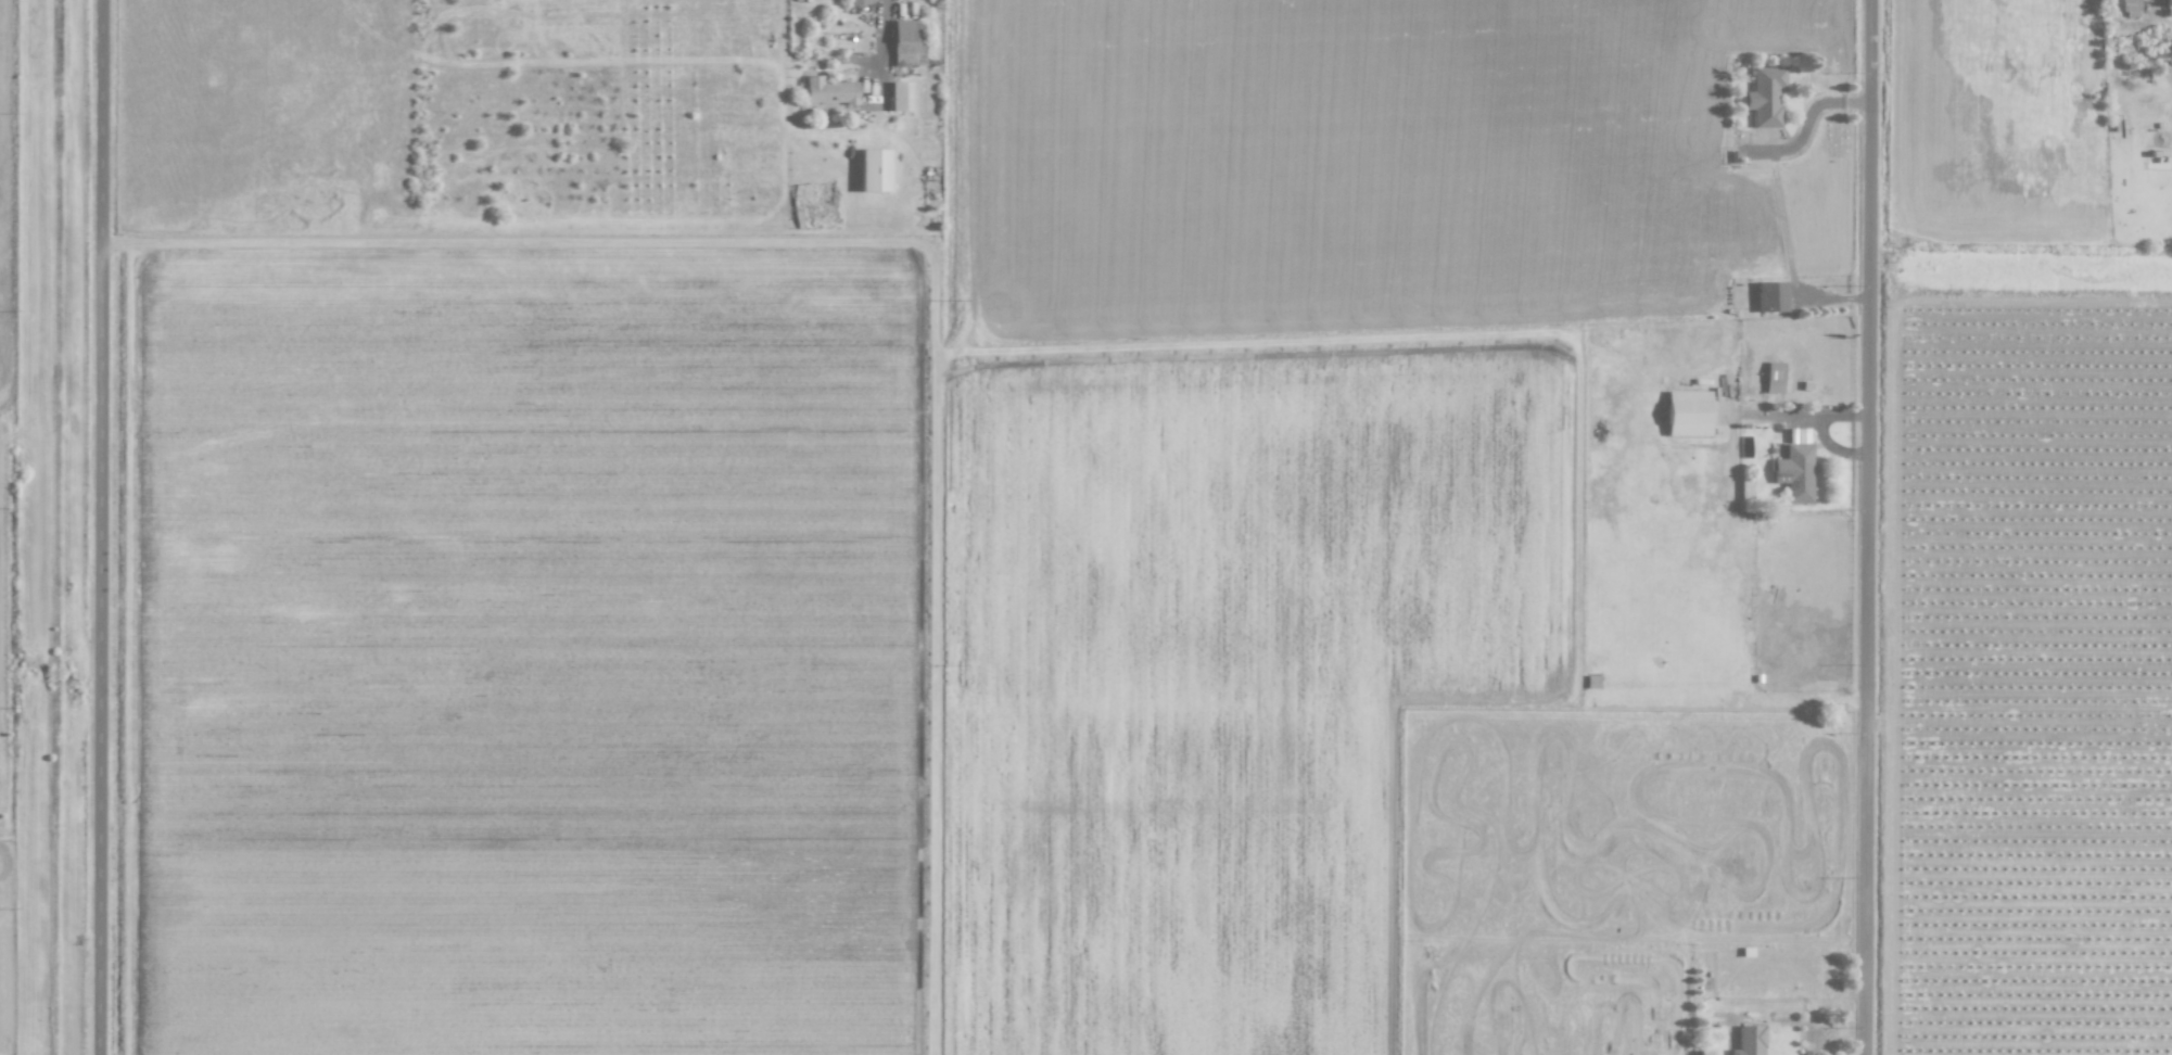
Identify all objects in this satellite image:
road: (2150, 3)
building: (2130, 8)
building: (906, 43)
road: (853, 64)
road: (884, 89)
building: (829, 90)
building: (901, 96)
building: (1765, 96)
road: (1806, 126)
building: (874, 169)
building: (1770, 295)
road: (1833, 298)
building: (1774, 377)
building: (1687, 412)
road: (1833, 415)
road: (1793, 416)
road: (1834, 448)
building: (1794, 472)
road: (1870, 526)
road: (102, 527)
road: (2019, 725)
building: (1749, 1040)

